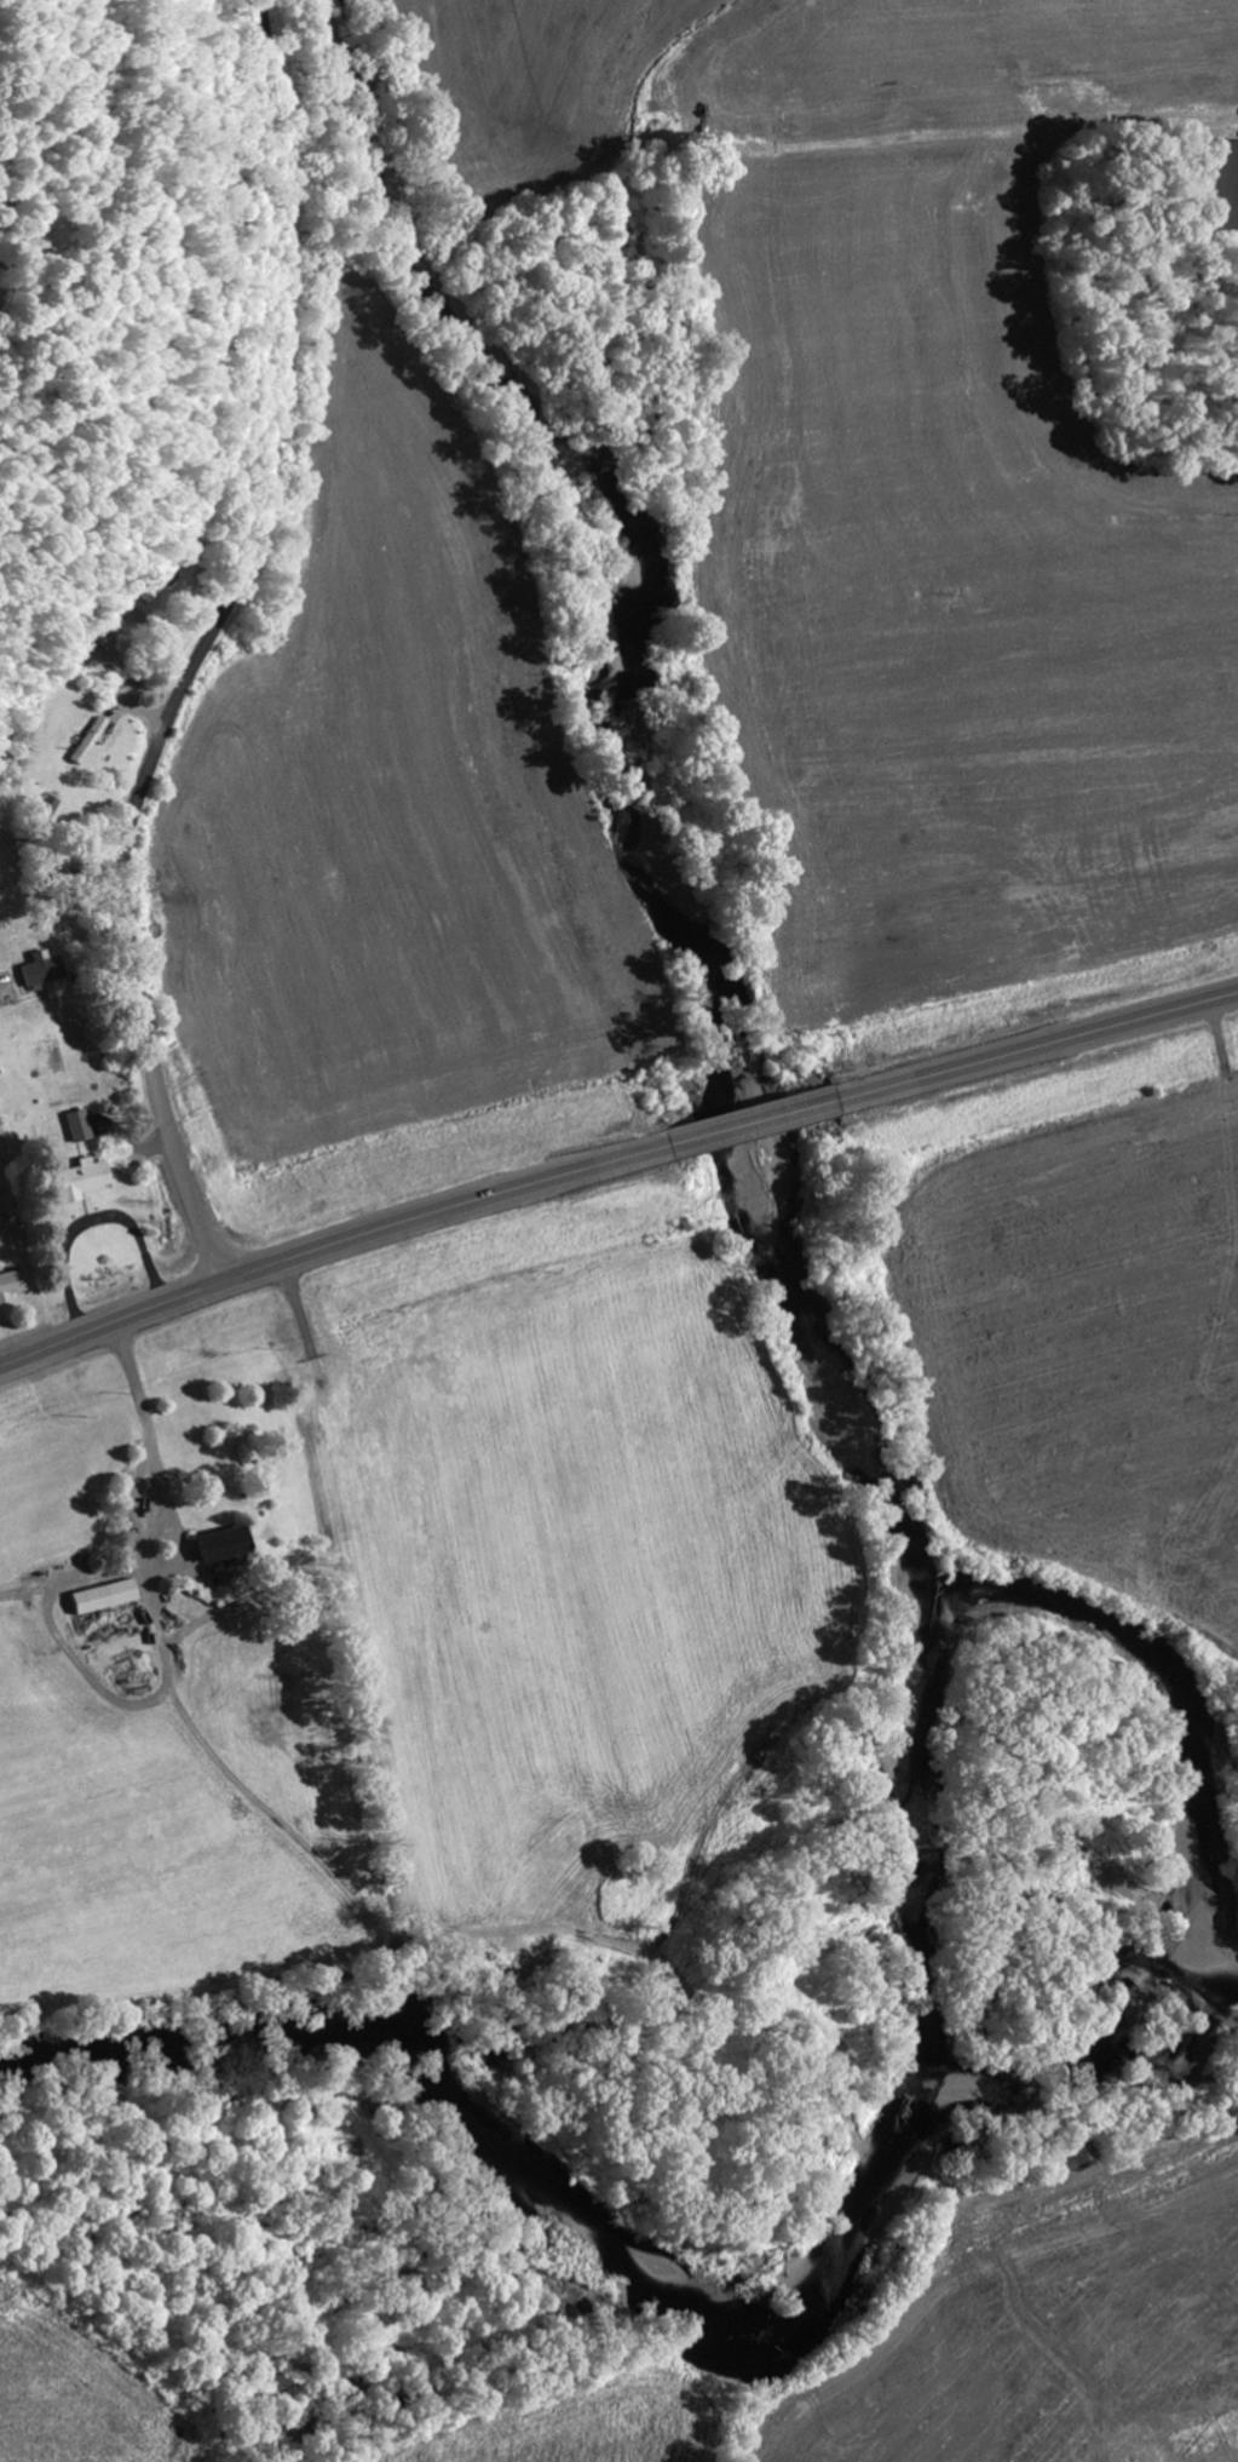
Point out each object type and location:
building: (1221, 184)
road: (784, 203)
building: (22, 239)
road: (206, 647)
building: (36, 971)
road: (1040, 1046)
road: (756, 1121)
building: (75, 1126)
building: (76, 1180)
road: (449, 1210)
building: (8, 1285)
road: (114, 1319)
building: (212, 1545)
building: (97, 1597)
river: (852, 2251)

